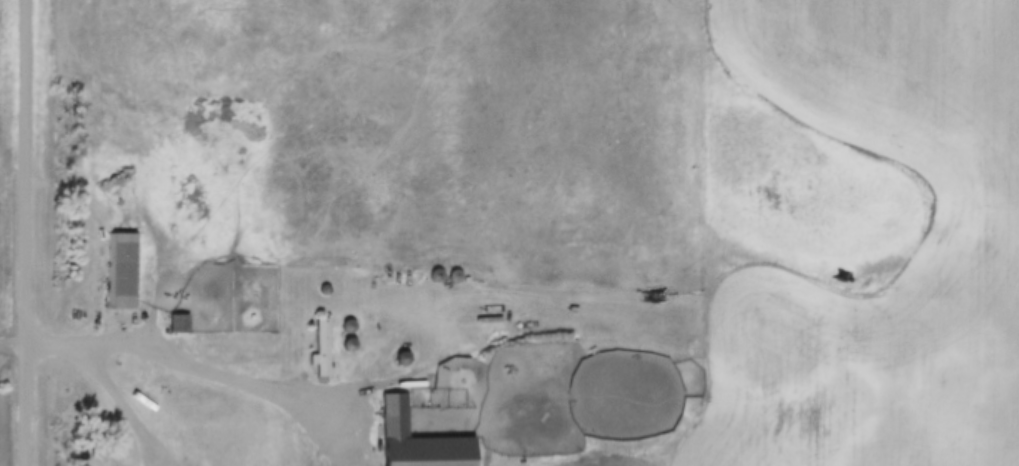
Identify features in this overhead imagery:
road: (23, 232)
building: (125, 272)
building: (180, 324)
building: (324, 349)
road: (190, 366)
building: (66, 392)
building: (420, 441)

